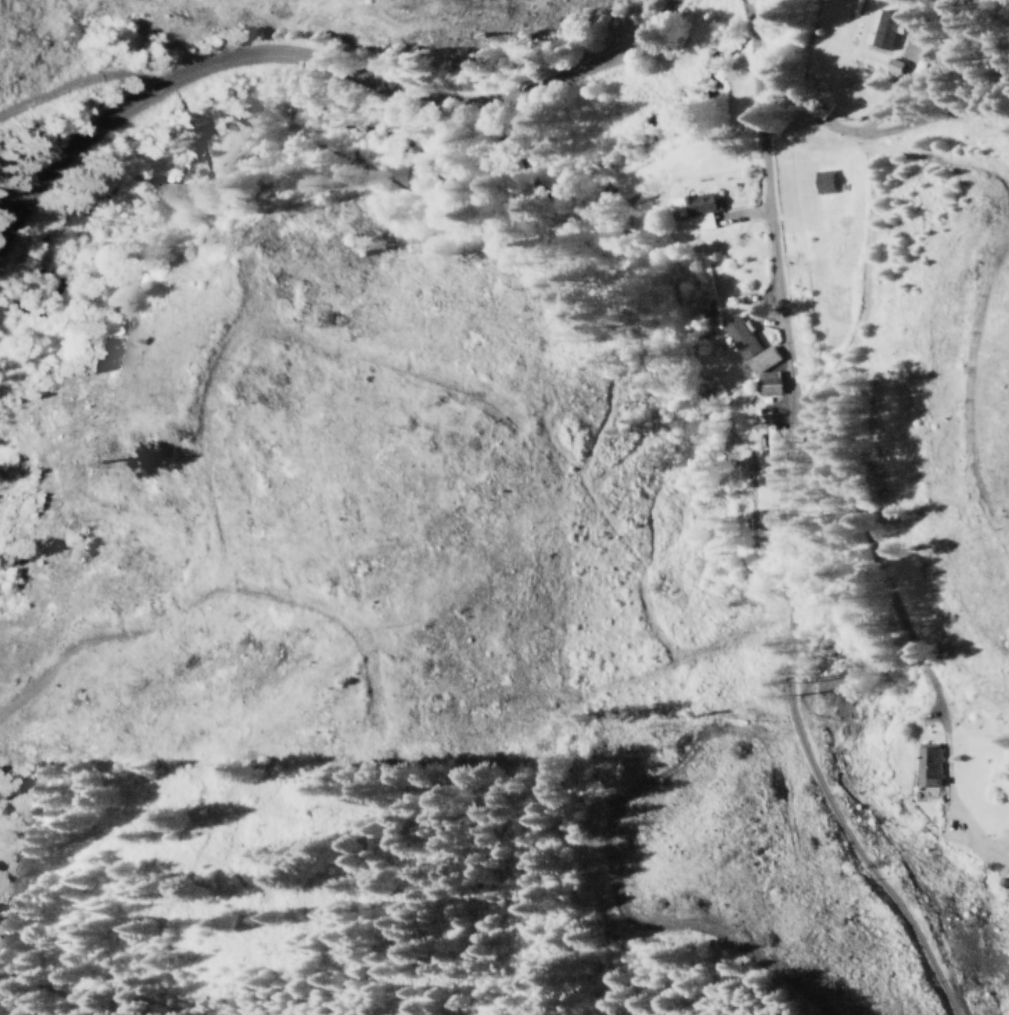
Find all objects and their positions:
building: (882, 30)
building: (892, 63)
road: (866, 133)
building: (820, 181)
road: (371, 189)
building: (693, 208)
building: (738, 337)
building: (763, 370)
road: (741, 518)
building: (924, 764)
building: (1006, 849)

